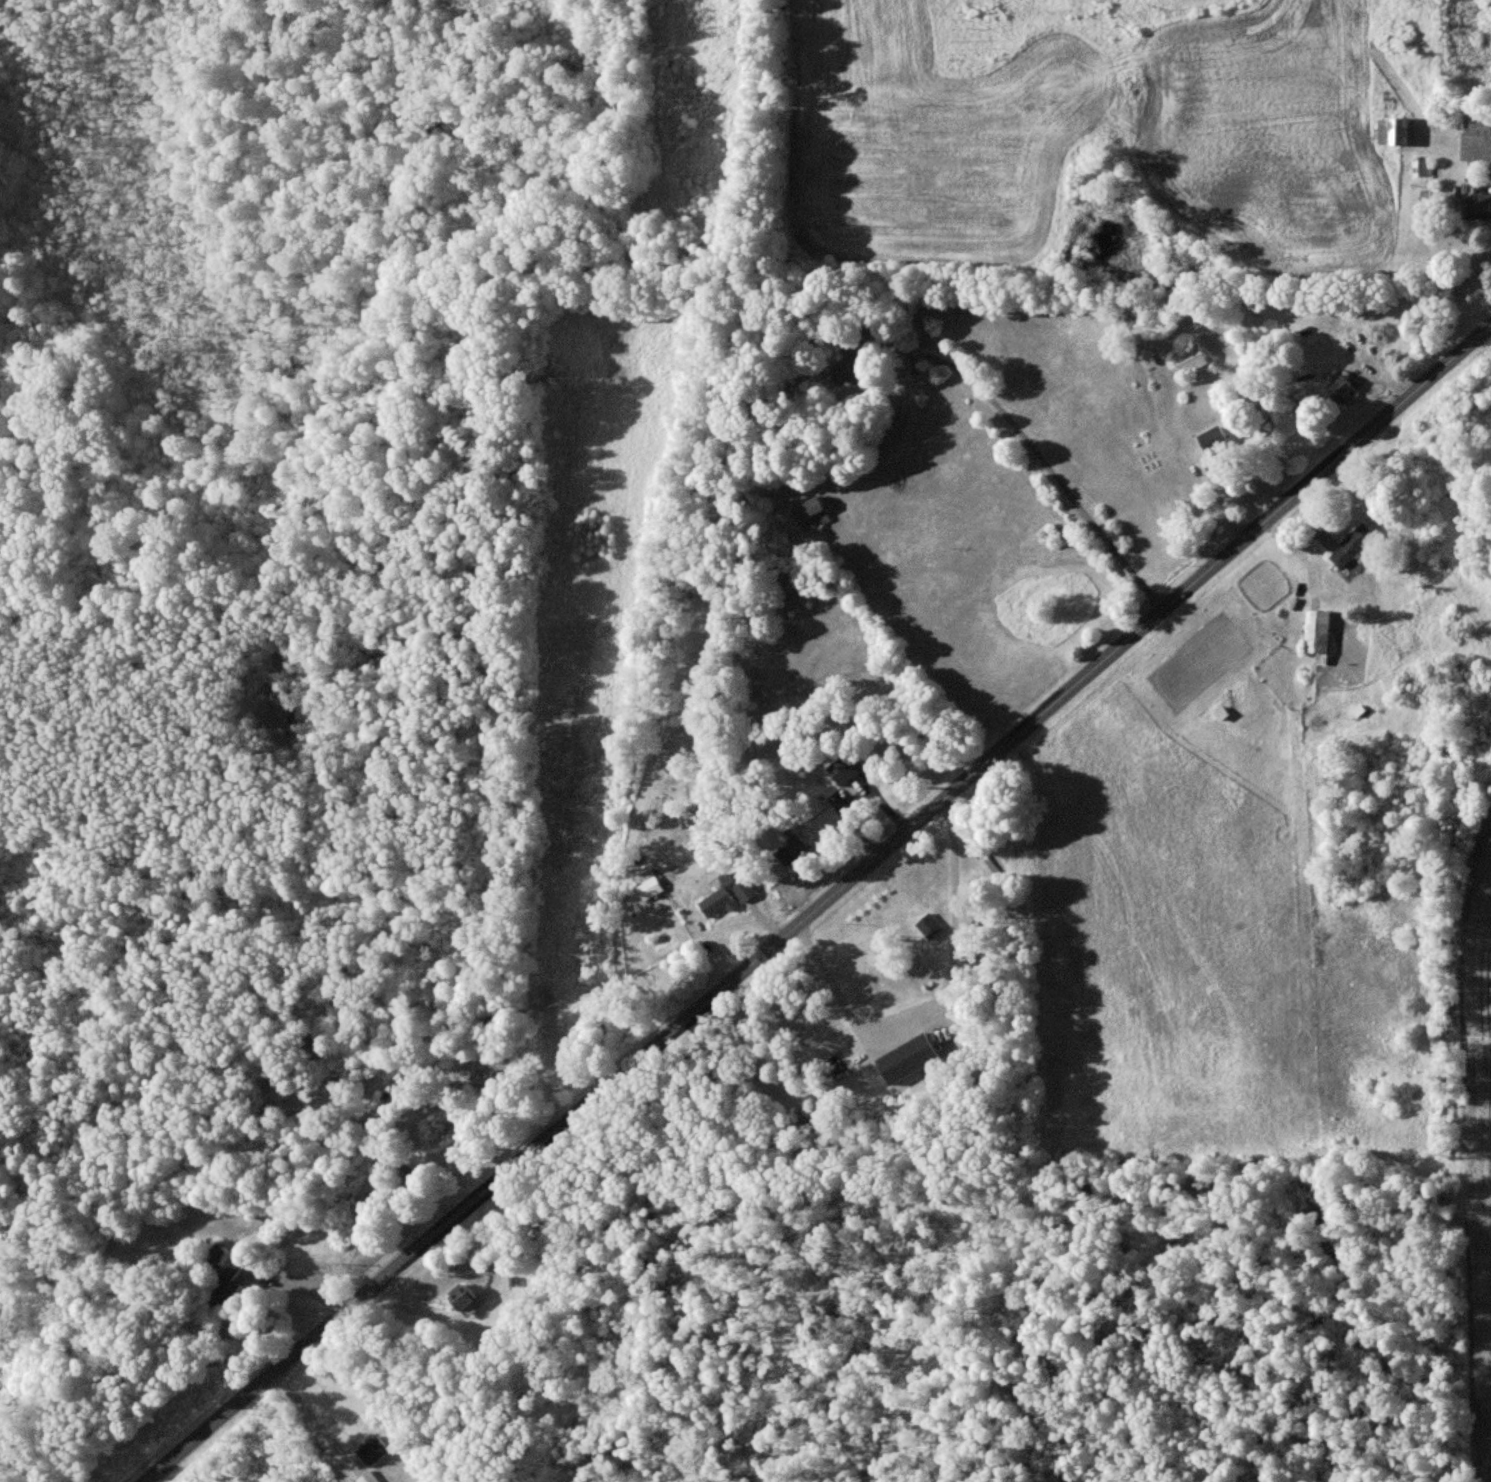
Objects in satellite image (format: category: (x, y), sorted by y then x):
building: (1478, 126)
building: (1396, 130)
building: (1422, 168)
building: (1477, 207)
building: (1190, 359)
building: (850, 366)
building: (1341, 391)
building: (1214, 441)
road: (1049, 469)
building: (812, 515)
building: (1352, 547)
building: (1318, 635)
building: (843, 769)
building: (792, 847)
building: (646, 884)
building: (727, 894)
road: (821, 906)
building: (929, 926)
road: (937, 1008)
building: (907, 1058)
building: (224, 1275)
building: (253, 1275)
building: (461, 1296)
building: (374, 1450)
building: (369, 1477)

